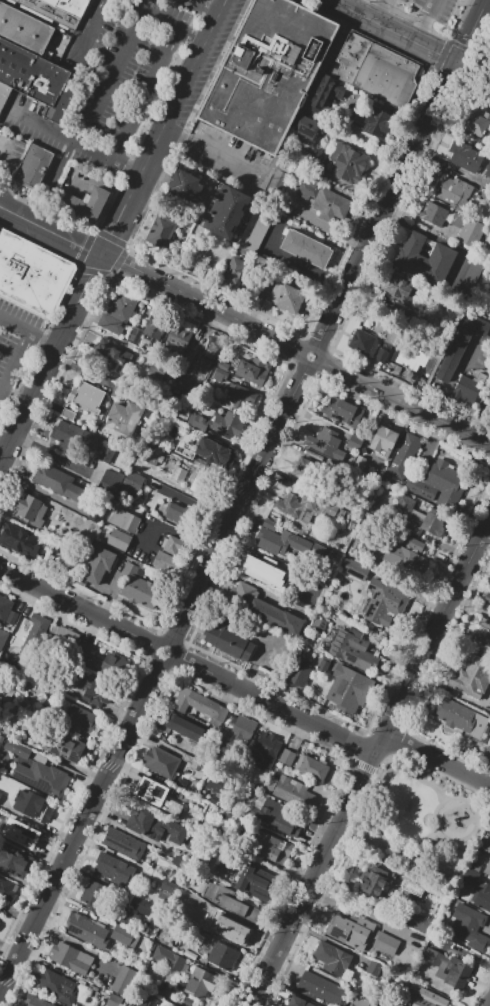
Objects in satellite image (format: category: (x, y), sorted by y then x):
building: (71, 6)
road: (203, 7)
parking lot: (433, 8)
road: (379, 10)
building: (51, 12)
road: (43, 19)
road: (425, 21)
road: (131, 24)
building: (23, 29)
road: (391, 31)
road: (469, 31)
road: (192, 36)
building: (352, 57)
road: (471, 71)
building: (269, 72)
building: (387, 76)
building: (36, 78)
parking lot: (134, 79)
building: (325, 92)
building: (4, 95)
road: (146, 96)
road: (94, 103)
building: (475, 120)
building: (378, 123)
road: (164, 127)
building: (305, 130)
road: (4, 143)
road: (75, 144)
road: (213, 153)
building: (464, 156)
building: (348, 163)
building: (33, 166)
building: (487, 174)
building: (279, 179)
building: (185, 185)
building: (454, 192)
building: (326, 200)
building: (87, 204)
road: (1, 209)
road: (382, 209)
building: (226, 212)
building: (434, 214)
road: (417, 219)
road: (50, 230)
building: (161, 232)
building: (471, 232)
building: (257, 233)
building: (306, 248)
building: (424, 258)
road: (289, 263)
building: (234, 271)
building: (31, 273)
building: (471, 276)
building: (397, 286)
building: (287, 298)
building: (122, 306)
road: (205, 306)
building: (111, 324)
building: (476, 324)
building: (156, 325)
road: (29, 329)
building: (135, 334)
building: (176, 340)
building: (362, 342)
parking lot: (16, 345)
building: (204, 352)
building: (452, 354)
building: (109, 356)
building: (399, 360)
road: (50, 361)
road: (15, 362)
building: (223, 365)
building: (253, 371)
building: (220, 375)
road: (456, 378)
building: (468, 384)
building: (119, 390)
building: (175, 391)
building: (87, 397)
building: (488, 397)
building: (240, 398)
road: (400, 400)
building: (488, 403)
building: (345, 412)
building: (68, 413)
building: (125, 418)
building: (219, 423)
building: (73, 437)
building: (325, 442)
building: (355, 442)
building: (383, 442)
building: (97, 446)
road: (3, 451)
building: (210, 451)
building: (150, 453)
building: (117, 456)
building: (404, 456)
building: (358, 464)
building: (307, 468)
building: (146, 469)
building: (179, 473)
building: (112, 478)
building: (58, 482)
building: (439, 483)
building: (133, 484)
road: (241, 498)
building: (295, 504)
building: (335, 511)
building: (33, 512)
building: (95, 516)
building: (181, 516)
building: (124, 520)
building: (286, 520)
road: (489, 520)
building: (428, 521)
building: (270, 525)
building: (119, 538)
building: (19, 541)
building: (282, 542)
building: (410, 543)
building: (174, 546)
building: (317, 549)
building: (408, 560)
building: (165, 562)
building: (97, 565)
building: (257, 565)
building: (355, 572)
building: (489, 583)
building: (140, 588)
building: (242, 592)
building: (386, 598)
building: (487, 598)
road: (76, 608)
building: (7, 613)
building: (276, 616)
building: (319, 625)
building: (483, 633)
building: (68, 636)
building: (3, 638)
road: (164, 638)
building: (31, 642)
building: (230, 643)
building: (352, 648)
building: (85, 649)
building: (106, 662)
building: (323, 668)
building: (299, 673)
building: (472, 676)
building: (348, 689)
building: (97, 691)
building: (198, 704)
road: (276, 705)
building: (461, 718)
building: (79, 719)
building: (186, 728)
building: (242, 731)
building: (69, 748)
building: (17, 749)
building: (265, 751)
building: (486, 756)
building: (287, 757)
road: (437, 760)
building: (161, 762)
road: (371, 762)
building: (314, 769)
road: (414, 771)
building: (43, 778)
road: (440, 778)
building: (147, 790)
building: (218, 790)
building: (290, 791)
road: (383, 791)
building: (0, 794)
road: (477, 800)
building: (32, 806)
building: (276, 816)
park: (424, 821)
building: (154, 826)
road: (81, 828)
road: (451, 838)
building: (25, 839)
building: (125, 844)
road: (391, 844)
building: (485, 845)
building: (271, 847)
building: (14, 861)
building: (476, 866)
building: (487, 868)
building: (114, 869)
building: (471, 877)
building: (376, 880)
building: (254, 881)
building: (169, 886)
building: (411, 886)
building: (7, 889)
building: (94, 894)
building: (481, 896)
building: (188, 900)
building: (141, 907)
building: (239, 908)
building: (128, 917)
building: (417, 921)
building: (469, 926)
building: (86, 930)
building: (233, 931)
building: (350, 932)
building: (125, 936)
building: (386, 944)
building: (222, 955)
building: (433, 956)
building: (71, 958)
building: (169, 958)
building: (333, 958)
building: (374, 968)
building: (457, 973)
building: (122, 982)
building: (201, 984)
building: (58, 986)
building: (322, 988)
building: (425, 997)
building: (359, 998)
building: (147, 1000)
building: (36, 1001)
building: (115, 1001)
building: (299, 1002)

